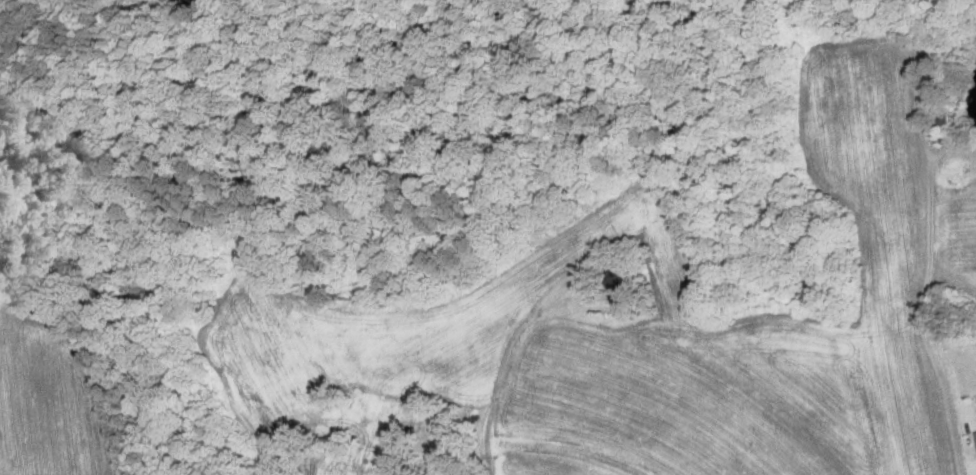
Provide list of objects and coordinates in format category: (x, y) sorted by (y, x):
road: (496, 379)
building: (975, 432)

